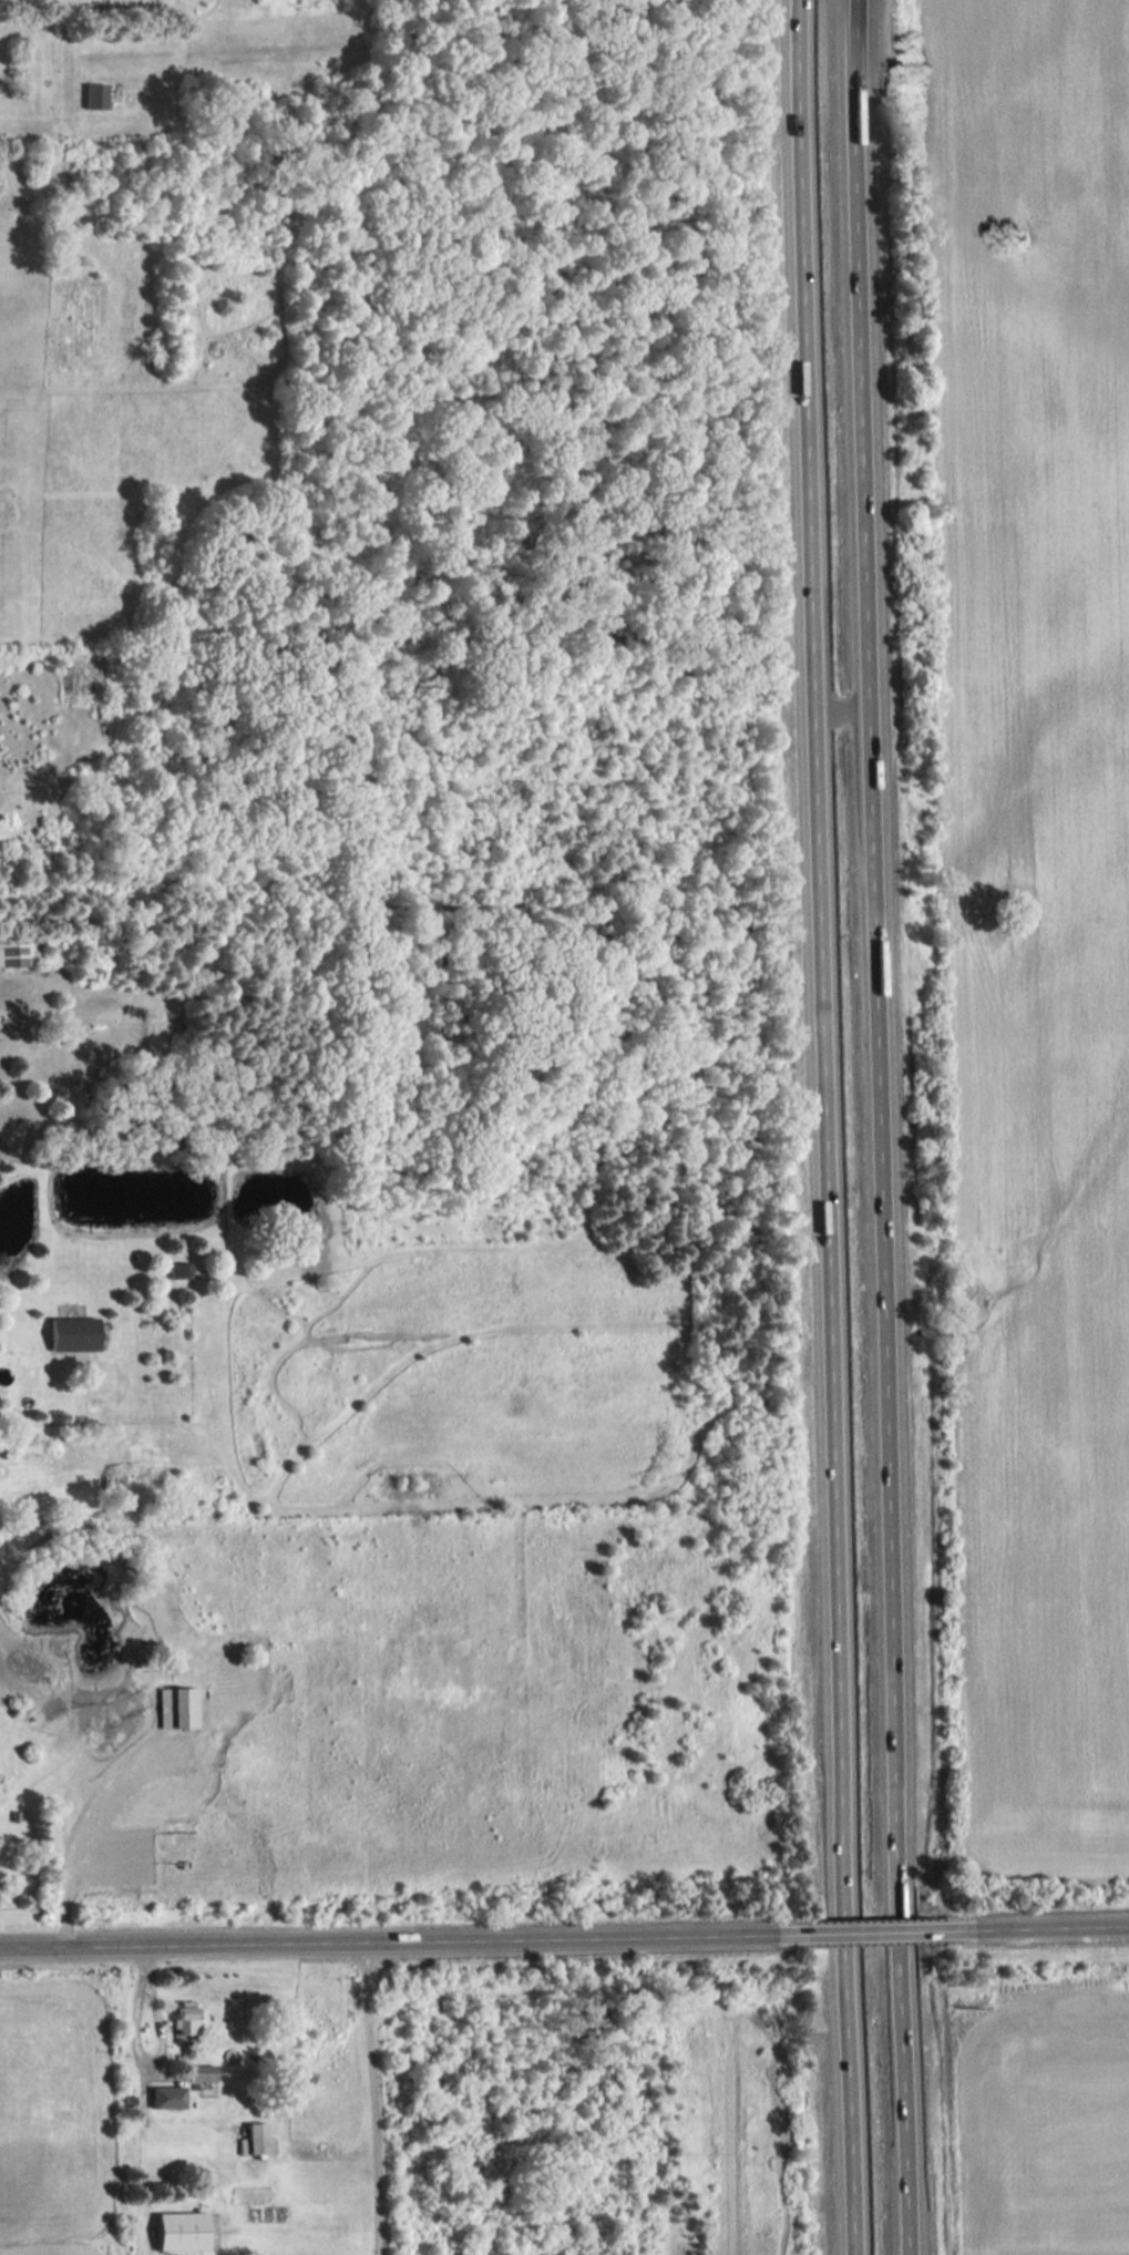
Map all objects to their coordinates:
building: (94, 95)
road: (856, 711)
building: (17, 950)
road: (839, 1127)
road: (895, 1127)
building: (179, 1270)
building: (72, 1333)
road: (82, 1827)
road: (1053, 1928)
road: (876, 1933)
road: (388, 1941)
building: (185, 2017)
road: (167, 2047)
building: (201, 2072)
building: (166, 2097)
road: (380, 2098)
building: (256, 2138)
building: (179, 2231)

